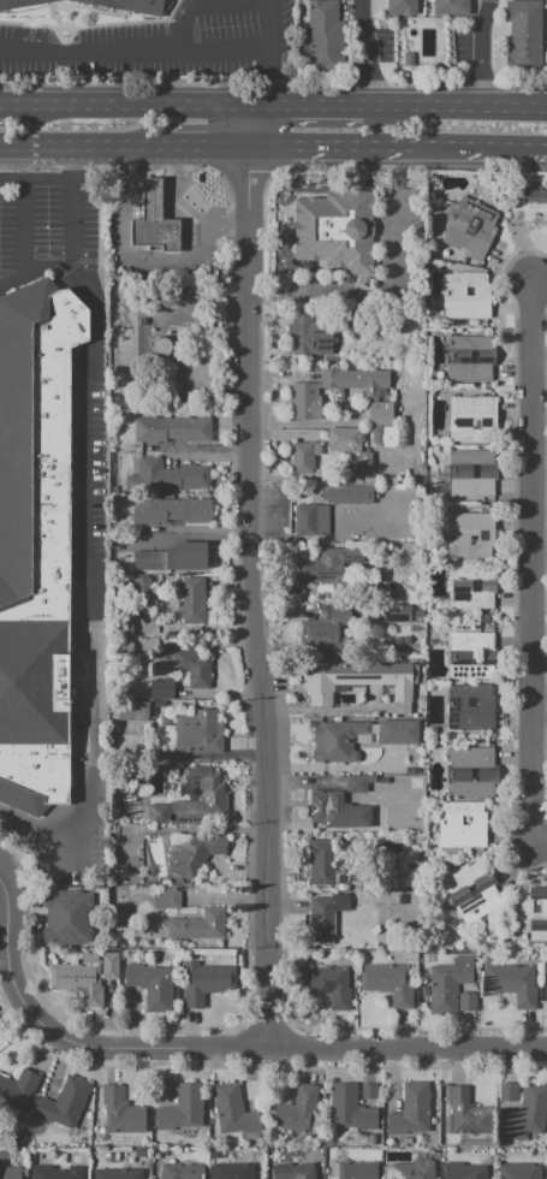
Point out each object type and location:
building: (63, 1)
building: (19, 4)
building: (130, 6)
building: (404, 6)
building: (450, 7)
building: (523, 32)
building: (321, 35)
road: (137, 51)
road: (220, 51)
road: (268, 52)
road: (364, 52)
road: (481, 52)
road: (7, 102)
road: (131, 102)
road: (320, 103)
road: (470, 105)
road: (78, 147)
road: (201, 148)
road: (299, 149)
road: (398, 150)
road: (495, 152)
road: (75, 162)
road: (124, 164)
road: (183, 165)
road: (153, 182)
road: (124, 195)
road: (153, 195)
building: (155, 200)
gas station: (155, 200)
building: (527, 205)
road: (153, 211)
road: (183, 212)
parking lot: (47, 226)
road: (24, 227)
building: (469, 227)
road: (227, 230)
building: (335, 230)
building: (160, 236)
road: (151, 261)
road: (36, 272)
road: (540, 279)
road: (387, 290)
building: (465, 295)
building: (351, 319)
building: (308, 336)
storage tank: (159, 345)
building: (160, 345)
building: (470, 357)
building: (355, 387)
building: (304, 402)
building: (380, 413)
building: (472, 419)
building: (191, 427)
building: (153, 429)
building: (373, 452)
building: (299, 458)
building: (471, 473)
building: (151, 475)
building: (191, 476)
road: (540, 492)
building: (343, 494)
building: (190, 510)
building: (151, 511)
road: (83, 514)
building: (308, 520)
building: (468, 535)
road: (183, 537)
building: (35, 543)
building: (188, 556)
building: (151, 561)
road: (533, 561)
building: (326, 564)
road: (249, 577)
building: (381, 583)
building: (470, 586)
building: (141, 591)
building: (195, 600)
building: (350, 626)
building: (120, 629)
building: (414, 636)
building: (402, 638)
building: (434, 640)
building: (471, 654)
building: (191, 668)
building: (184, 679)
building: (355, 680)
building: (161, 689)
building: (469, 707)
road: (323, 710)
road: (540, 710)
building: (131, 711)
building: (398, 733)
building: (197, 734)
building: (337, 741)
road: (333, 768)
building: (469, 771)
building: (359, 783)
building: (195, 799)
building: (323, 806)
building: (346, 825)
building: (460, 825)
building: (335, 827)
building: (384, 828)
road: (540, 843)
parking lot: (58, 846)
building: (196, 854)
building: (319, 860)
building: (396, 888)
building: (469, 890)
building: (165, 900)
building: (69, 903)
building: (530, 908)
building: (325, 917)
building: (197, 925)
building: (66, 930)
building: (339, 962)
building: (109, 966)
building: (476, 966)
building: (426, 976)
building: (78, 982)
building: (202, 983)
building: (151, 984)
building: (387, 984)
building: (448, 984)
building: (512, 984)
building: (325, 985)
building: (426, 990)
building: (546, 1001)
building: (466, 1002)
road: (213, 1051)
building: (17, 1090)
building: (161, 1092)
building: (368, 1092)
building: (507, 1092)
building: (64, 1103)
building: (411, 1109)
building: (120, 1110)
building: (182, 1110)
building: (232, 1110)
building: (349, 1110)
building: (297, 1112)
building: (464, 1113)
building: (527, 1113)
building: (371, 1139)
building: (406, 1139)
building: (216, 1154)
building: (157, 1155)
building: (111, 1157)
building: (333, 1168)
building: (357, 1169)
building: (233, 1171)
building: (295, 1171)
building: (414, 1171)
building: (465, 1171)
building: (179, 1172)
building: (519, 1172)
building: (54, 1173)
building: (10, 1174)
building: (117, 1174)

